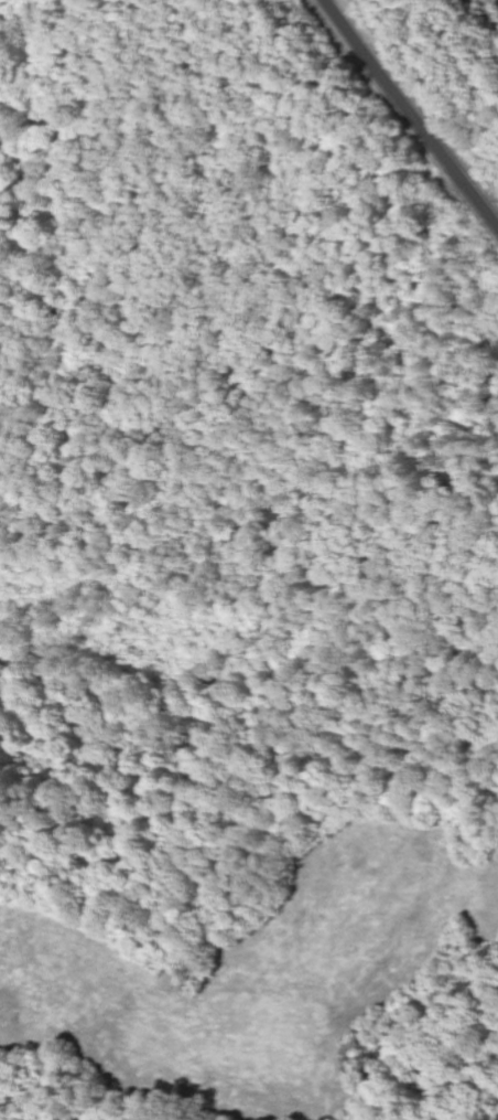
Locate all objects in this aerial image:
road: (411, 107)

